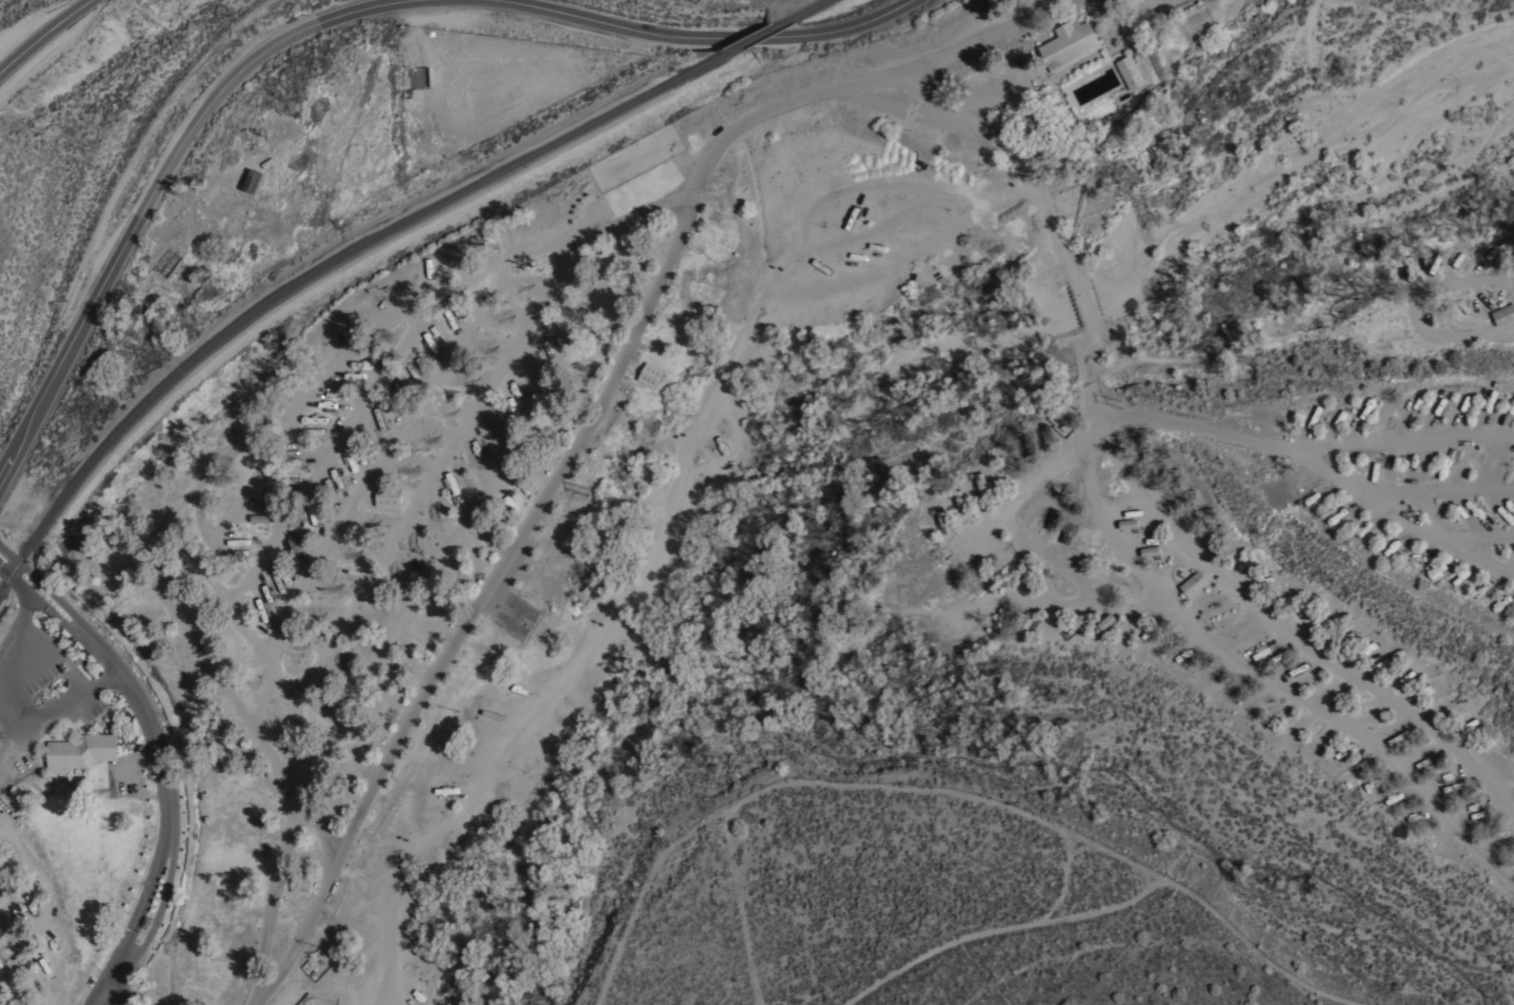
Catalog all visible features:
railway: (814, 7)
road: (335, 18)
railway: (764, 34)
road: (43, 39)
building: (1069, 45)
building: (1130, 73)
railway: (587, 128)
road: (1015, 157)
building: (252, 181)
road: (1081, 304)
building: (1504, 315)
railway: (191, 363)
building: (650, 375)
road: (1092, 376)
road: (593, 417)
building: (1047, 438)
road: (1308, 447)
road: (241, 449)
building: (1029, 450)
road: (386, 453)
building: (1151, 456)
road: (327, 457)
road: (437, 473)
building: (1171, 473)
building: (982, 485)
road: (1438, 490)
building: (1186, 494)
building: (388, 497)
building: (961, 502)
building: (1204, 514)
road: (1403, 517)
building: (256, 518)
building: (1052, 519)
building: (944, 522)
building: (1128, 525)
building: (1067, 533)
road: (1473, 534)
road: (1037, 547)
building: (1150, 552)
road: (213, 577)
building: (1194, 585)
road: (416, 596)
road: (20, 610)
road: (72, 616)
building: (1004, 616)
park: (514, 619)
building: (1026, 622)
building: (1104, 623)
building: (1076, 624)
road: (1295, 627)
road: (9, 653)
road: (57, 655)
road: (1263, 670)
road: (102, 681)
road: (145, 716)
road: (42, 719)
building: (81, 752)
building: (302, 884)
road: (1, 905)
road: (138, 908)
road: (158, 916)
road: (36, 950)
road: (105, 997)
road: (117, 997)

